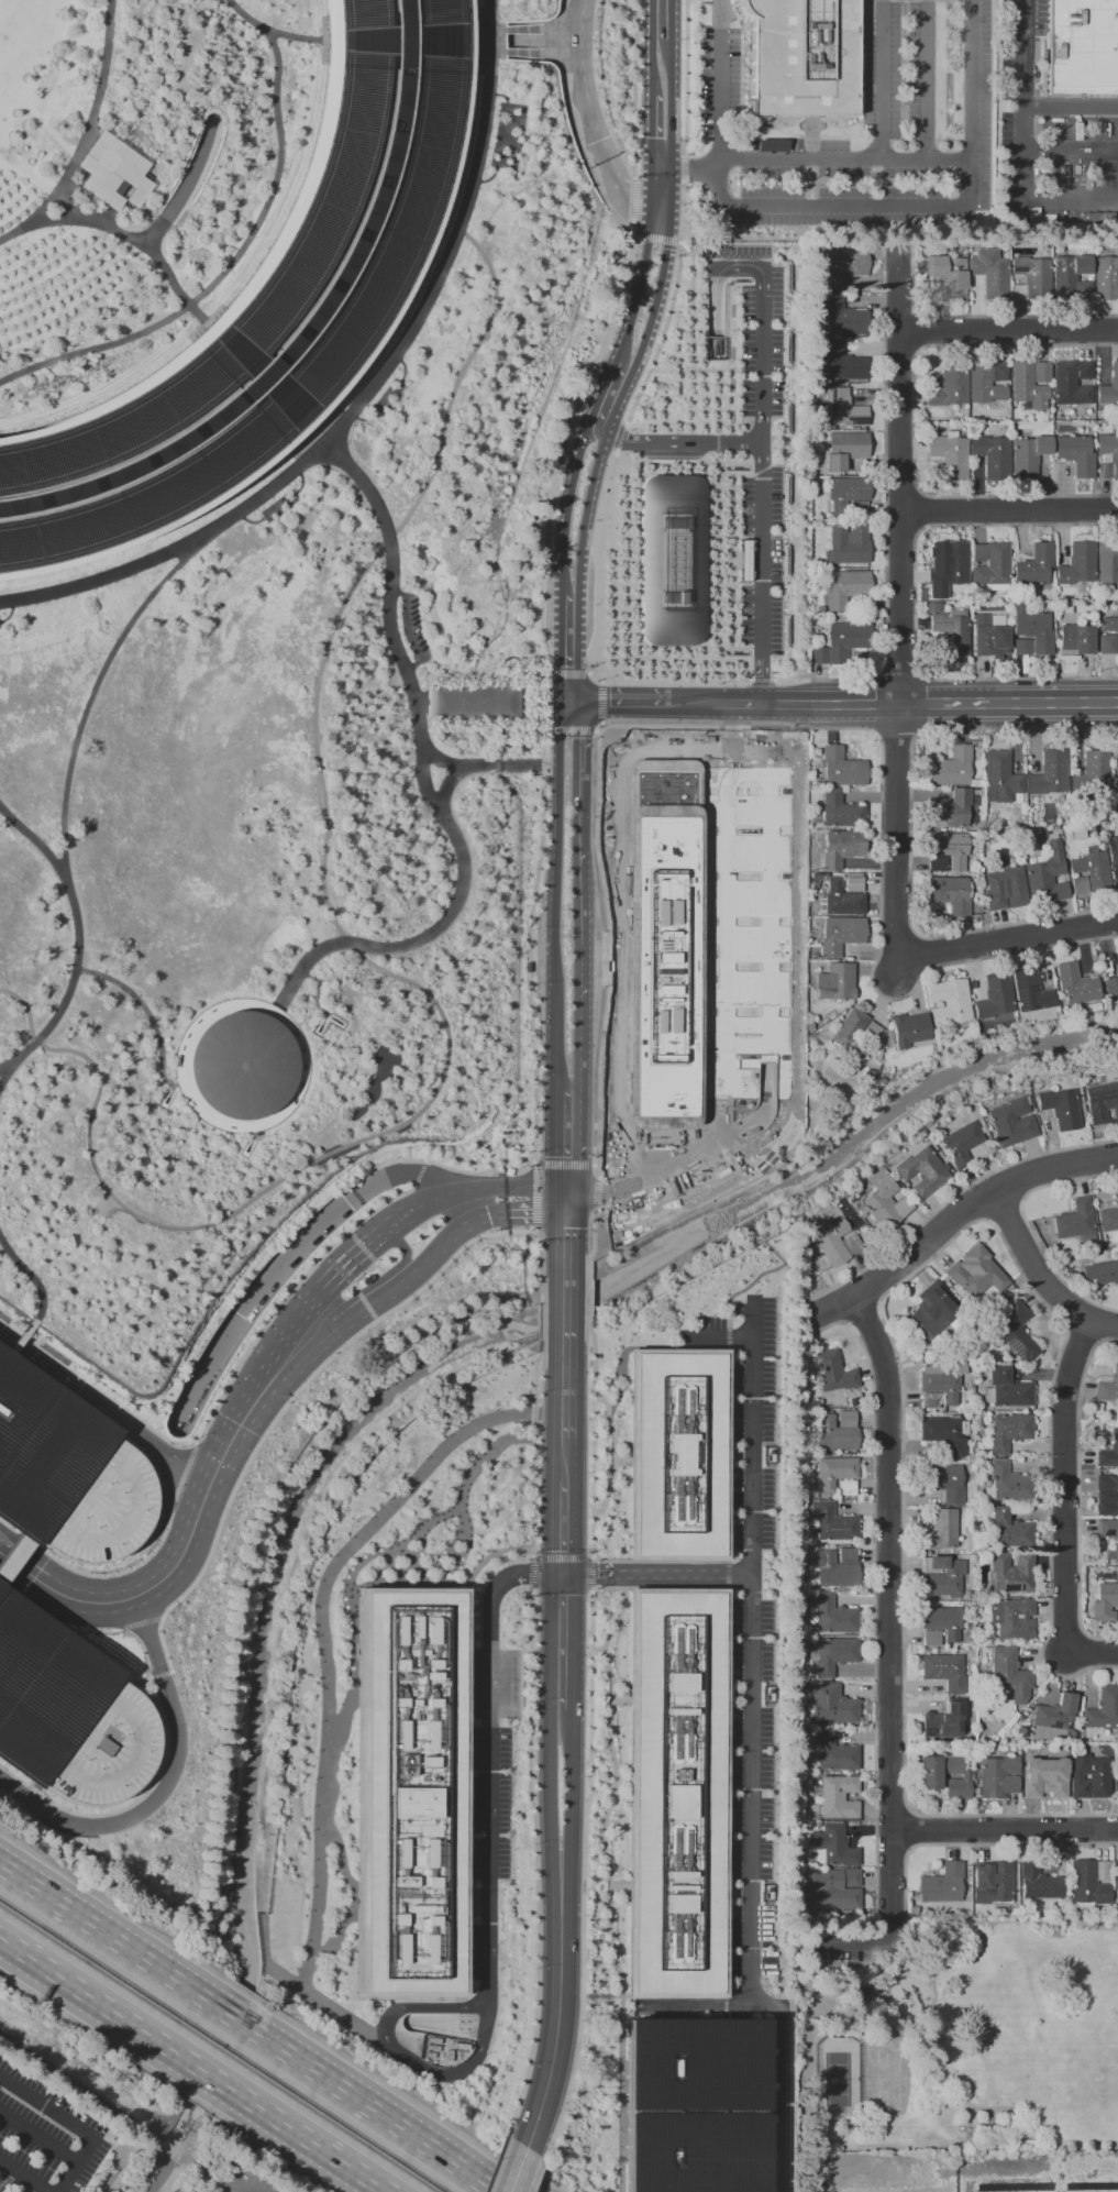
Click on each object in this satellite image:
road: (512, 20)
road: (669, 20)
road: (302, 37)
road: (494, 44)
road: (550, 45)
road: (652, 47)
building: (1084, 47)
building: (800, 57)
road: (512, 71)
road: (881, 78)
road: (718, 79)
road: (928, 79)
road: (583, 81)
road: (668, 103)
road: (1025, 107)
road: (1071, 110)
road: (651, 130)
building: (771, 145)
road: (1071, 156)
road: (845, 157)
road: (720, 164)
building: (108, 166)
traffic signals: (651, 166)
road: (660, 166)
traffic signals: (668, 167)
road: (694, 167)
road: (189, 181)
road: (626, 185)
road: (651, 185)
road: (720, 187)
road: (667, 188)
road: (60, 202)
traffic signals: (651, 205)
road: (949, 206)
road: (658, 207)
traffic signals: (666, 209)
road: (1070, 212)
road: (66, 224)
road: (32, 227)
road: (235, 253)
building: (845, 268)
building: (994, 274)
building: (951, 277)
building: (1106, 277)
building: (1073, 278)
building: (1034, 279)
road: (641, 284)
road: (896, 286)
road: (899, 312)
road: (981, 316)
building: (274, 317)
building: (845, 319)
road: (646, 323)
road: (1007, 328)
road: (918, 330)
road: (901, 349)
building: (845, 365)
road: (403, 368)
building: (1041, 372)
building: (999, 373)
building: (1072, 383)
building: (950, 385)
building: (984, 386)
building: (1026, 387)
building: (1109, 387)
road: (599, 393)
road: (375, 409)
building: (846, 410)
road: (912, 419)
road: (761, 422)
building: (926, 427)
road: (595, 429)
parking lot: (763, 439)
road: (680, 441)
road: (328, 443)
building: (848, 451)
building: (950, 454)
building: (992, 454)
building: (1075, 454)
building: (1027, 455)
building: (1115, 458)
road: (900, 491)
building: (849, 495)
road: (566, 508)
road: (1008, 509)
road: (918, 510)
road: (583, 511)
road: (885, 513)
road: (901, 531)
building: (743, 546)
building: (846, 550)
building: (978, 552)
building: (668, 555)
building: (743, 559)
building: (1107, 561)
building: (993, 564)
building: (1034, 564)
building: (1077, 564)
building: (951, 565)
building: (743, 573)
building: (849, 590)
road: (914, 601)
building: (932, 606)
building: (994, 620)
building: (1109, 625)
building: (1033, 628)
building: (952, 632)
building: (987, 636)
building: (1076, 638)
building: (844, 643)
building: (1106, 643)
building: (1021, 647)
road: (560, 648)
road: (574, 648)
road: (899, 649)
road: (898, 678)
road: (761, 680)
road: (784, 698)
road: (852, 698)
road: (737, 700)
road: (1008, 700)
road: (622, 701)
road: (689, 701)
traffic signals: (558, 702)
road: (566, 702)
traffic signals: (575, 702)
building: (466, 707)
road: (535, 709)
road: (781, 727)
road: (760, 731)
road: (895, 732)
road: (558, 734)
road: (573, 739)
flagpole: (868, 740)
road: (483, 765)
building: (950, 767)
building: (844, 770)
road: (431, 772)
building: (1091, 772)
road: (423, 774)
building: (1049, 774)
building: (1114, 775)
building: (999, 776)
building: (972, 809)
building: (949, 811)
building: (842, 812)
road: (573, 813)
road: (54, 822)
road: (29, 834)
road: (907, 835)
building: (949, 848)
building: (843, 849)
building: (1111, 849)
building: (937, 863)
building: (1092, 870)
building: (1047, 875)
road: (556, 877)
building: (1078, 884)
building: (1005, 889)
building: (950, 894)
building: (848, 896)
road: (574, 908)
parking lot: (745, 922)
road: (767, 926)
building: (843, 936)
road: (1003, 939)
road: (721, 940)
building: (663, 944)
road: (368, 956)
building: (1116, 962)
road: (622, 966)
road: (328, 974)
building: (839, 983)
building: (1076, 983)
building: (1110, 987)
building: (1030, 991)
building: (995, 996)
building: (949, 1001)
road: (148, 1007)
road: (253, 1017)
building: (911, 1031)
building: (859, 1034)
road: (285, 1036)
road: (554, 1039)
building: (247, 1062)
road: (310, 1062)
road: (574, 1081)
road: (171, 1086)
building: (1102, 1101)
building: (1060, 1108)
road: (760, 1113)
building: (1011, 1122)
road: (263, 1142)
building: (961, 1142)
road: (555, 1144)
road: (532, 1161)
road: (562, 1164)
road: (594, 1165)
road: (518, 1168)
road: (419, 1171)
road: (596, 1171)
building: (921, 1171)
road: (597, 1177)
road: (647, 1178)
road: (351, 1182)
road: (1009, 1187)
road: (485, 1188)
road: (596, 1191)
traffic signals: (568, 1192)
road: (534, 1194)
road: (952, 1196)
road: (973, 1201)
building: (885, 1203)
road: (973, 1203)
road: (538, 1209)
road: (1005, 1214)
building: (1108, 1219)
building: (1074, 1220)
road: (1027, 1224)
road: (388, 1225)
road: (534, 1229)
road: (519, 1230)
road: (449, 1236)
building: (831, 1242)
building: (851, 1243)
road: (361, 1246)
road: (403, 1251)
road: (285, 1263)
road: (337, 1273)
building: (974, 1273)
building: (1100, 1273)
road: (359, 1275)
road: (1039, 1275)
road: (25, 1280)
road: (866, 1291)
road: (285, 1297)
road: (381, 1298)
road: (365, 1304)
road: (1073, 1311)
road: (878, 1313)
road: (566, 1314)
road: (337, 1315)
building: (925, 1317)
road: (864, 1319)
road: (1102, 1325)
building: (1015, 1329)
road: (1081, 1333)
road: (20, 1336)
road: (300, 1337)
building: (833, 1372)
road: (593, 1379)
building: (942, 1379)
building: (1108, 1387)
road: (95, 1388)
building: (1006, 1389)
road: (296, 1390)
road: (534, 1391)
road: (255, 1399)
building: (930, 1400)
road: (104, 1403)
building: (845, 1418)
parking lot: (753, 1423)
building: (1008, 1431)
building: (833, 1433)
building: (942, 1433)
building: (676, 1445)
building: (1108, 1452)
road: (613, 1453)
road: (563, 1458)
road: (219, 1462)
road: (181, 1470)
building: (835, 1470)
building: (67, 1474)
parking garage: (67, 1474)
road: (1062, 1480)
building: (944, 1481)
building: (1007, 1483)
building: (846, 1488)
road: (1077, 1492)
building: (1113, 1496)
road: (10, 1524)
building: (832, 1524)
building: (1010, 1524)
road: (562, 1527)
building: (941, 1530)
road: (12, 1536)
building: (1108, 1536)
road: (27, 1539)
road: (27, 1541)
road: (13, 1551)
road: (374, 1553)
building: (846, 1555)
road: (562, 1558)
road: (51, 1567)
building: (834, 1569)
road: (121, 1572)
road: (532, 1572)
road: (539, 1572)
traffic signals: (562, 1573)
road: (586, 1573)
road: (679, 1574)
building: (1012, 1574)
road: (32, 1575)
road: (590, 1575)
road: (163, 1576)
building: (941, 1576)
road: (2, 1578)
road: (887, 1580)
road: (2, 1587)
road: (606, 1589)
road: (30, 1593)
road: (490, 1599)
road: (873, 1599)
building: (1104, 1601)
building: (833, 1615)
building: (1012, 1618)
building: (943, 1621)
road: (56, 1622)
road: (139, 1623)
road: (322, 1629)
building: (931, 1638)
road: (571, 1639)
road: (163, 1645)
road: (1091, 1649)
road: (596, 1651)
building: (833, 1654)
building: (942, 1674)
building: (1009, 1674)
road: (160, 1675)
road: (137, 1682)
building: (833, 1705)
building: (1104, 1709)
building: (1055, 1712)
building: (69, 1717)
parking garage: (69, 1717)
building: (942, 1718)
road: (731, 1721)
road: (550, 1744)
road: (599, 1748)
building: (835, 1749)
road: (466, 1751)
building: (1117, 1764)
road: (749, 1774)
building: (930, 1775)
building: (1088, 1775)
building: (998, 1776)
building: (1044, 1777)
road: (166, 1781)
building: (676, 1789)
parking lot: (753, 1789)
building: (410, 1791)
building: (975, 1791)
road: (613, 1792)
building: (838, 1796)
road: (893, 1810)
road: (568, 1813)
road: (486, 1824)
road: (1004, 1828)
road: (910, 1829)
road: (977, 1842)
building: (833, 1844)
road: (893, 1849)
road: (535, 1862)
road: (582, 1876)
building: (1116, 1881)
building: (993, 1882)
building: (1038, 1883)
building: (943, 1884)
building: (1085, 1885)
building: (833, 1891)
road: (353, 1898)
road: (112, 1938)
road: (846, 1942)
parking lot: (842, 1956)
road: (303, 1990)
road: (100, 2004)
road: (739, 2005)
road: (232, 2016)
road: (427, 2026)
road: (471, 2026)
road: (555, 2034)
park: (963, 2040)
road: (391, 2051)
road: (947, 2073)
road: (208, 2074)
park: (838, 2079)
park: (882, 2079)
road: (368, 2106)
building: (690, 2107)
road: (73, 2125)
road: (301, 2136)
road: (37, 2137)
parking lot: (44, 2138)
building: (88, 2162)
road: (496, 2163)
road: (517, 2169)
road: (536, 2174)
road: (24, 2176)
parking lot: (245, 2182)
road: (241, 2191)
road: (243, 2191)

